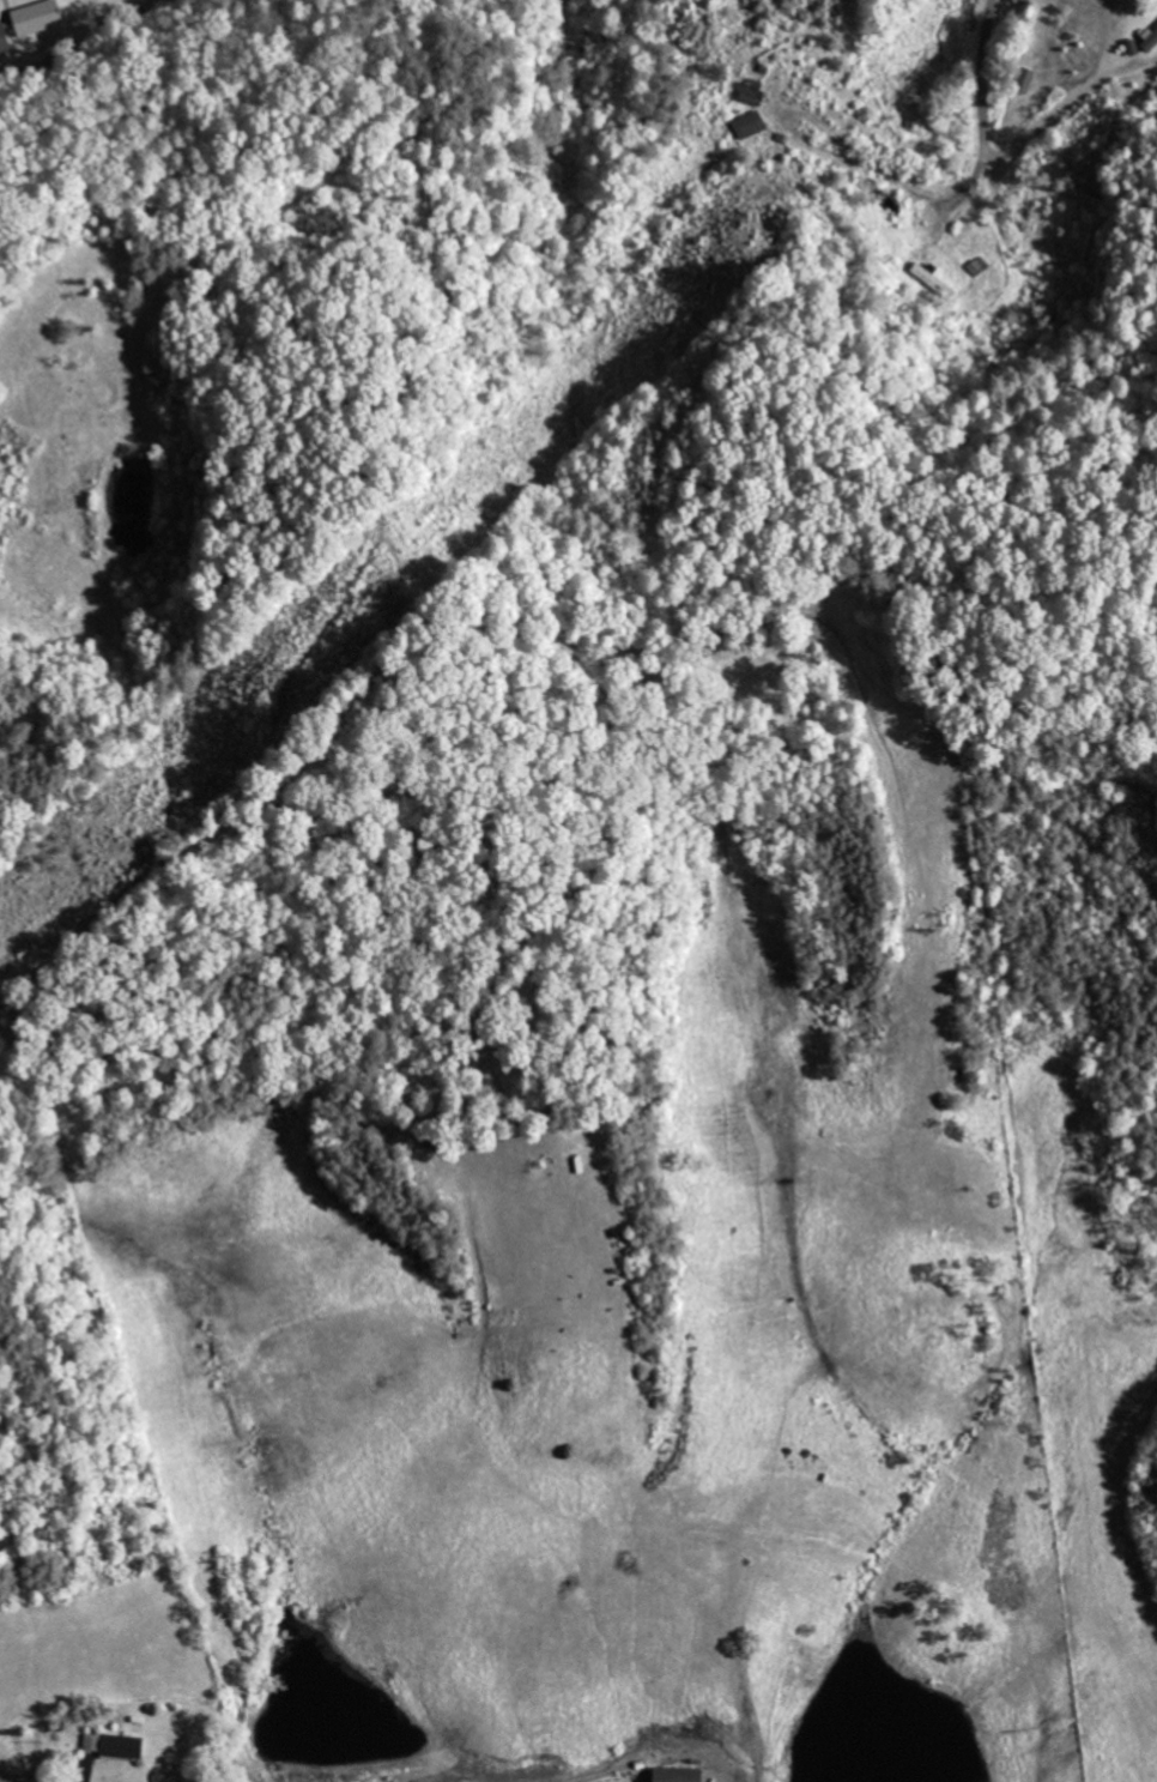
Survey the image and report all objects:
building: (31, 18)
building: (1147, 38)
building: (1, 41)
building: (1022, 80)
building: (749, 91)
building: (746, 125)
road: (985, 149)
building: (116, 1745)

